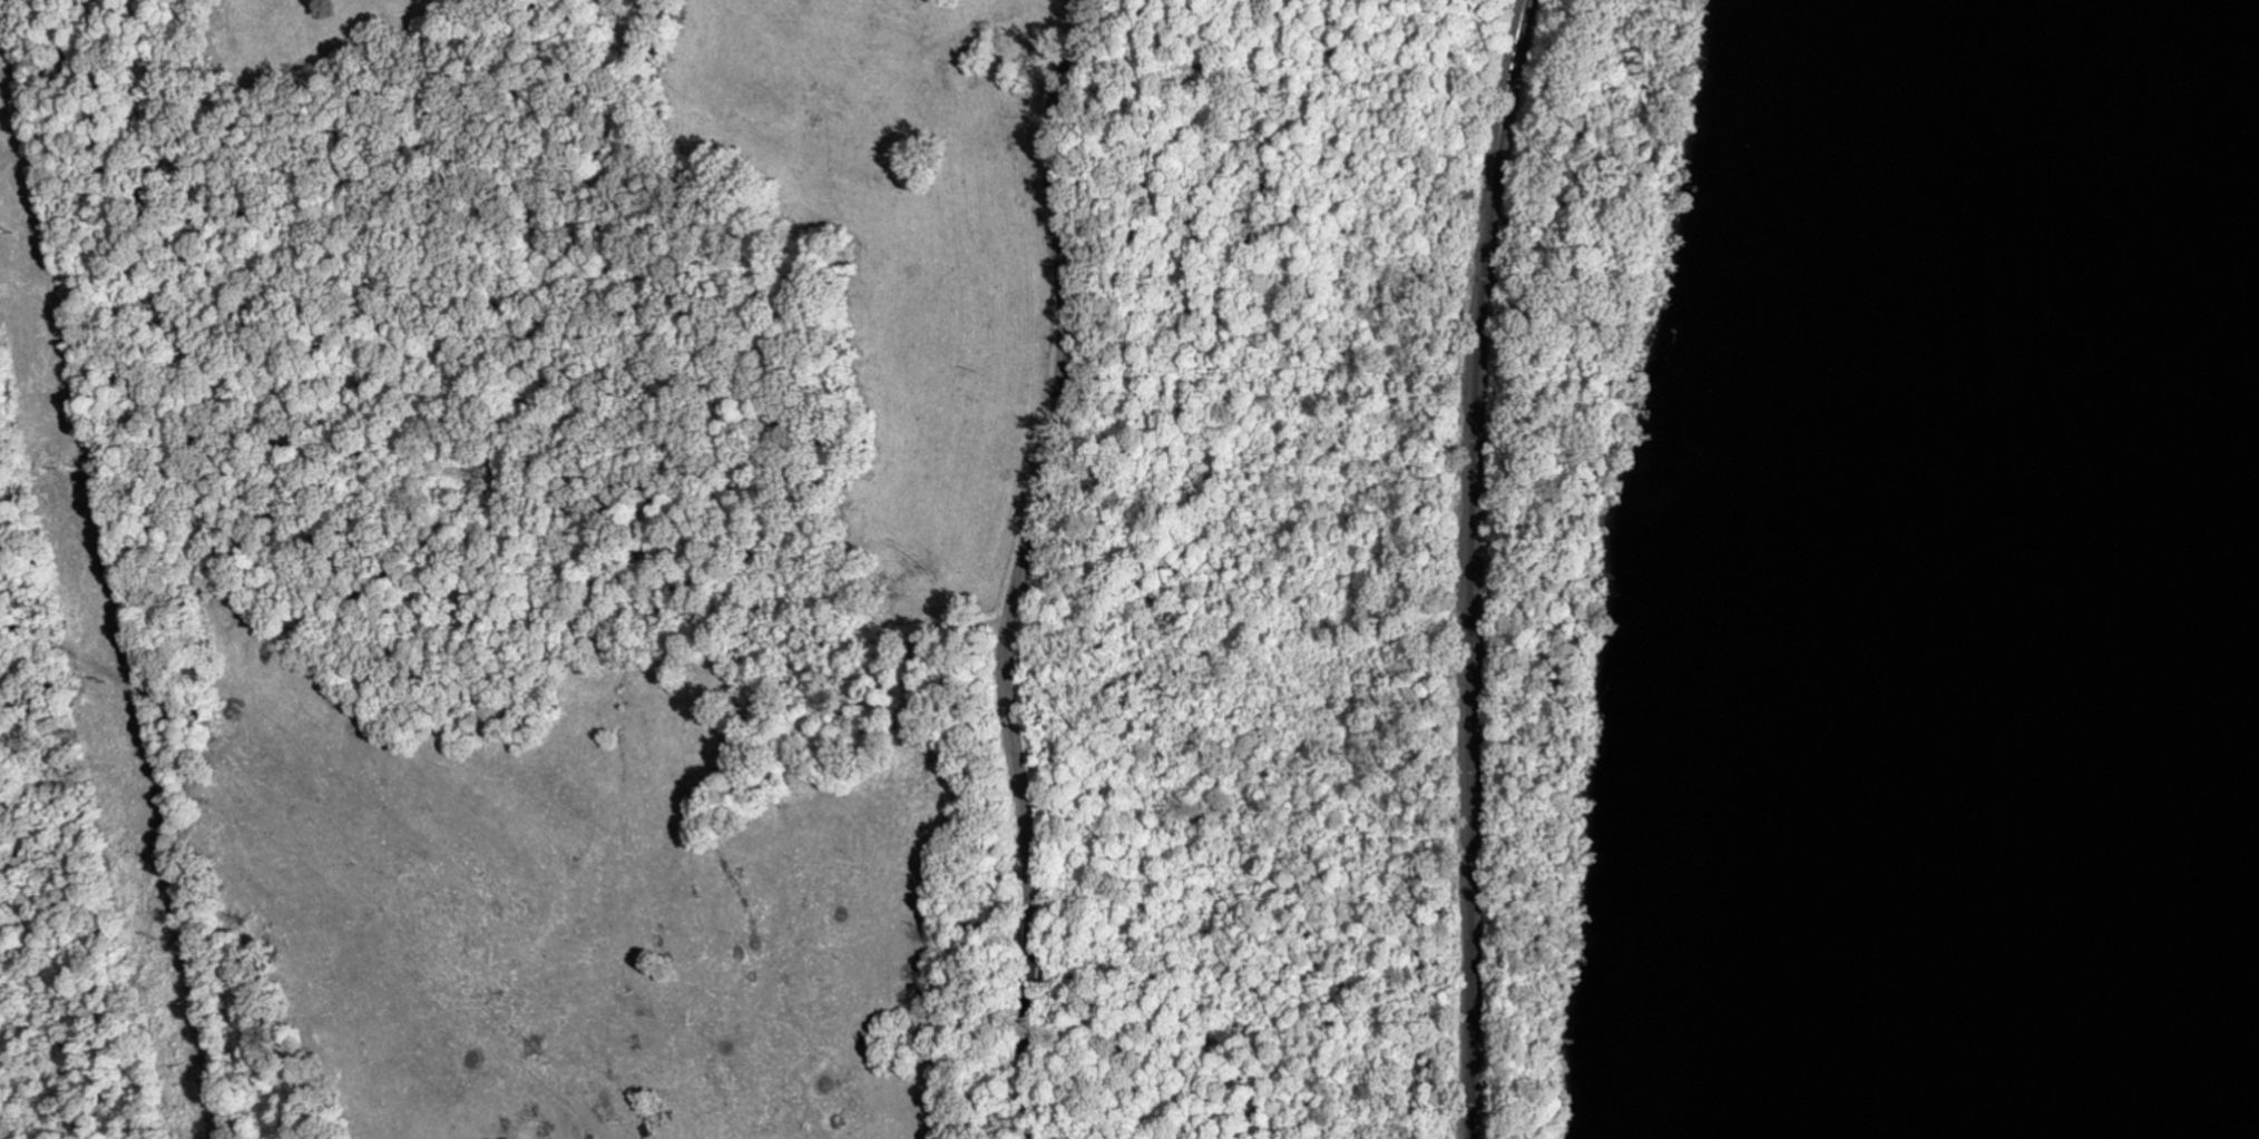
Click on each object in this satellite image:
road: (1031, 563)
river: (2095, 563)
railway: (1432, 567)

